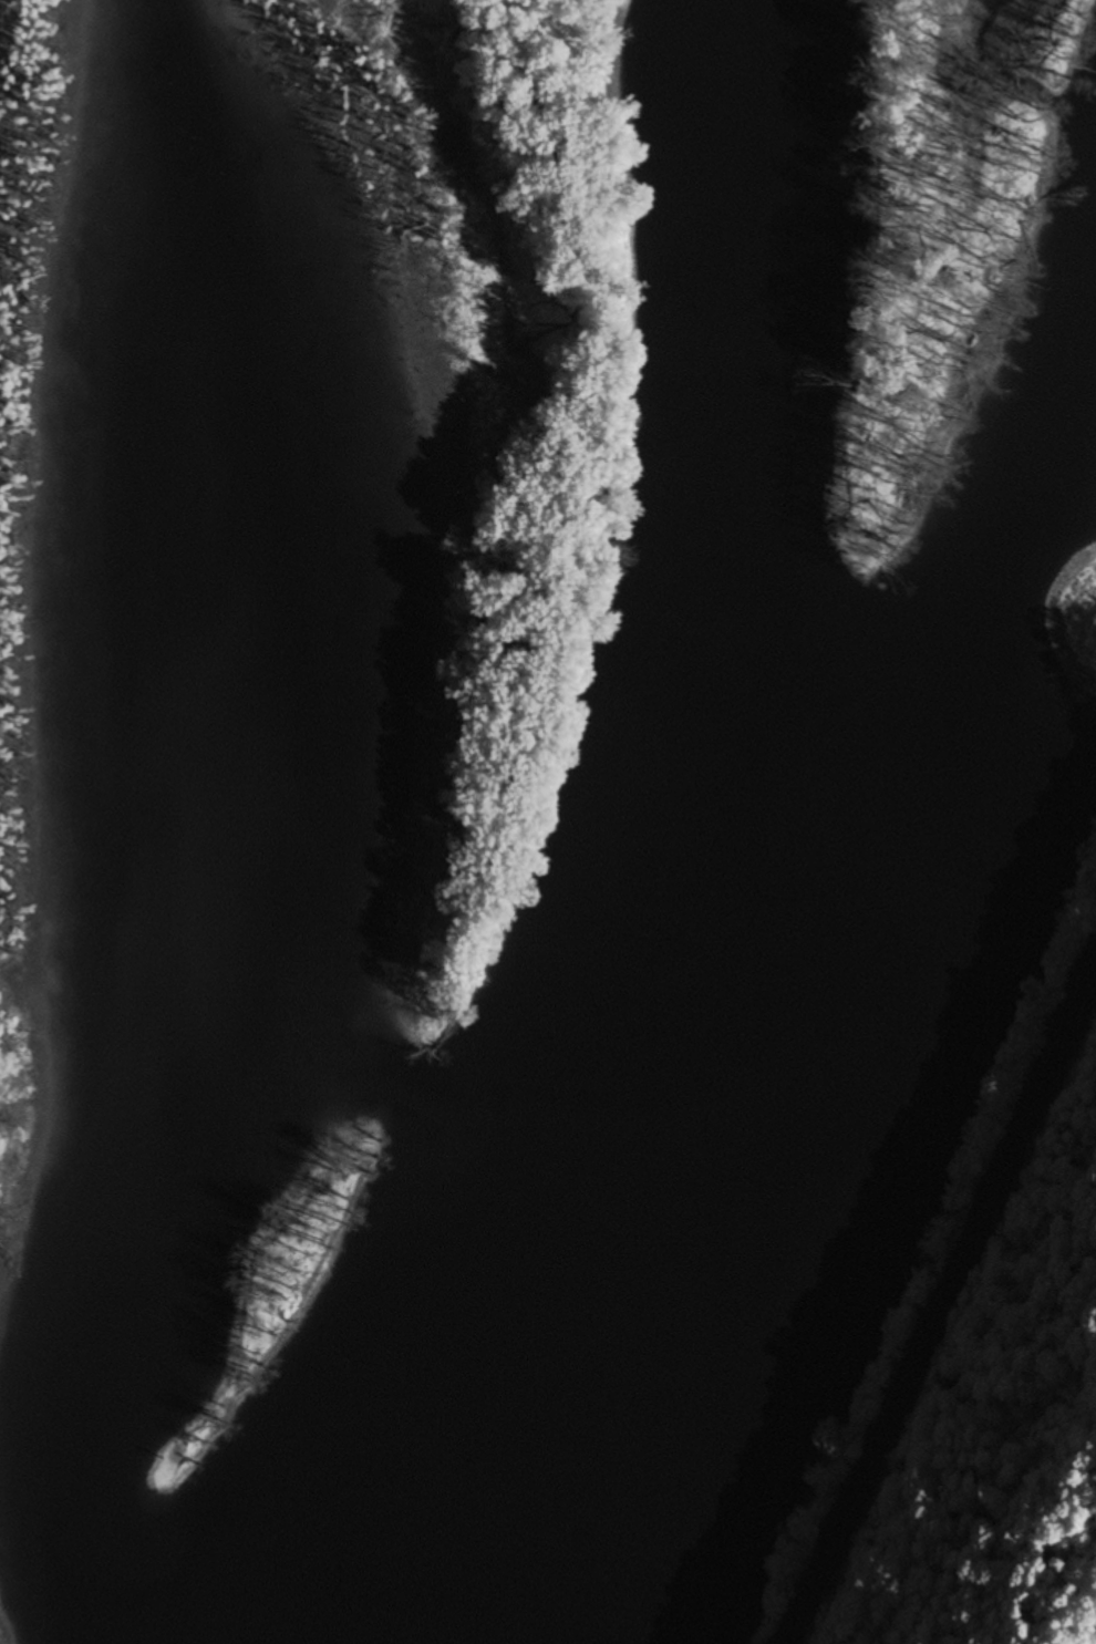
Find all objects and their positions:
railway: (937, 1294)
railway: (943, 1312)

